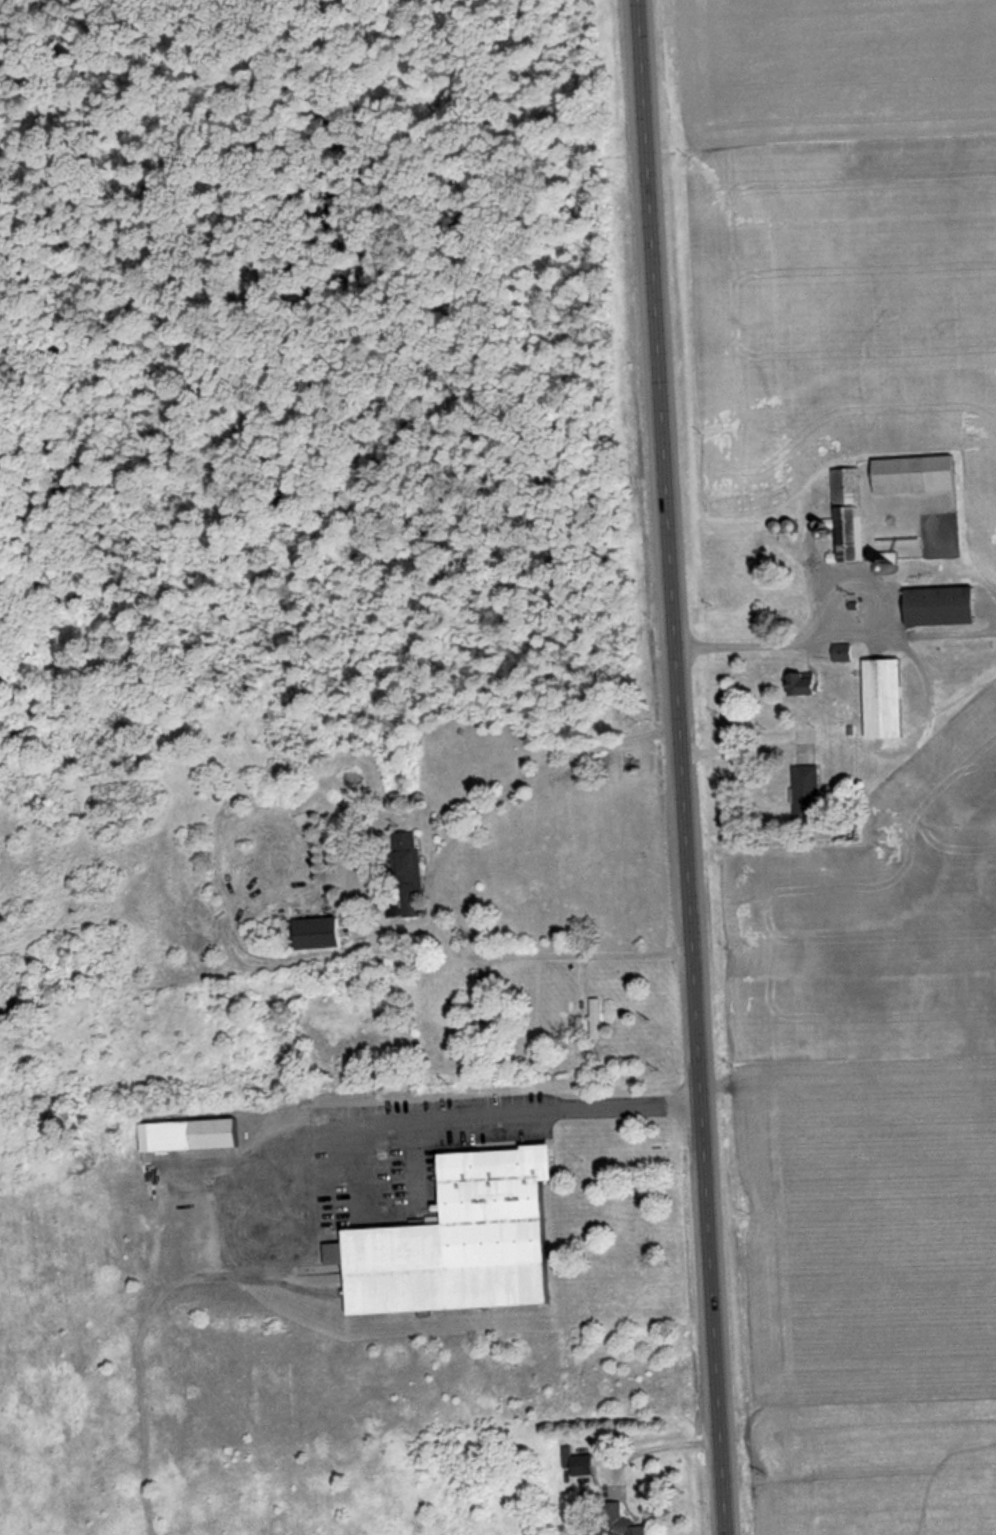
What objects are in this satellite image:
building: (920, 476)
building: (853, 517)
building: (782, 527)
building: (948, 608)
building: (845, 653)
building: (809, 686)
building: (890, 701)
road: (679, 767)
building: (810, 791)
building: (410, 857)
building: (314, 934)
building: (486, 1018)
building: (599, 1019)
building: (192, 1136)
building: (467, 1243)
building: (582, 1464)
building: (642, 1531)

